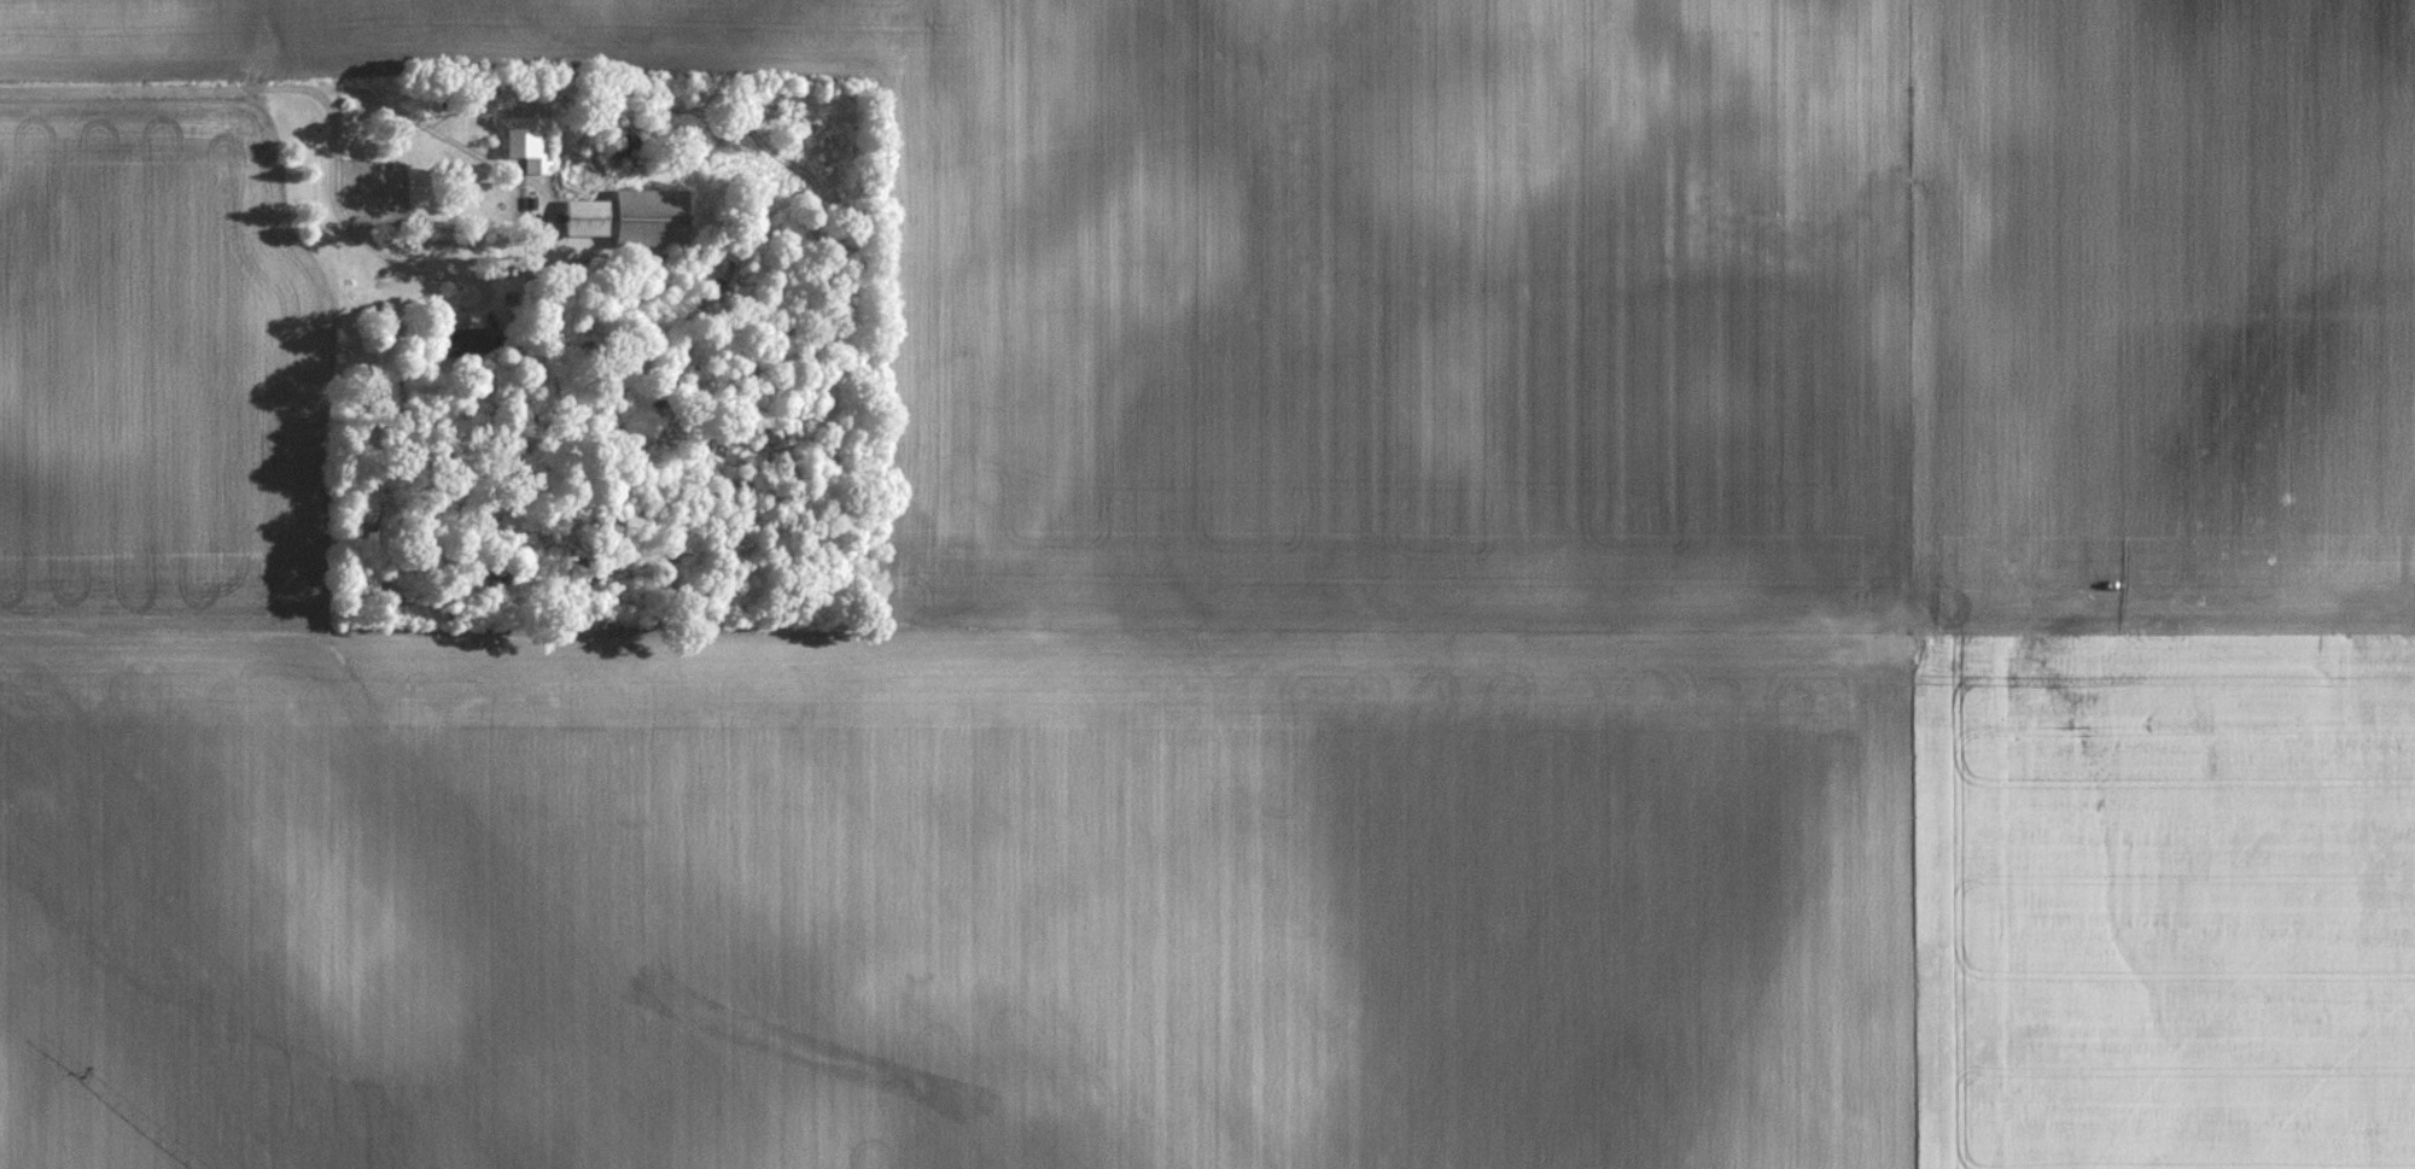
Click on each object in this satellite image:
road: (153, 87)
building: (450, 98)
building: (531, 142)
building: (635, 220)
road: (520, 259)
building: (468, 341)
crop: (1293, 619)

